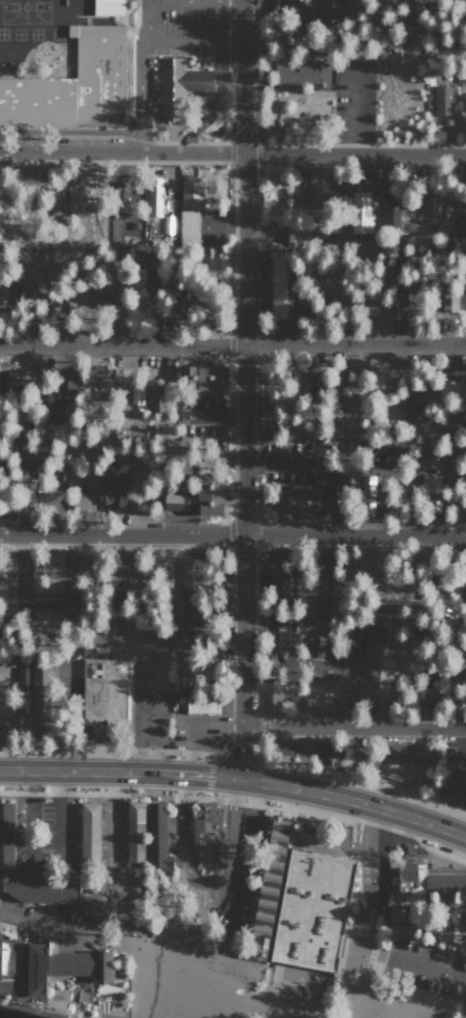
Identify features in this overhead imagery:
building: (114, 6)
building: (462, 7)
building: (329, 10)
road: (190, 42)
building: (294, 72)
road: (140, 76)
building: (79, 82)
building: (179, 85)
road: (216, 101)
building: (443, 103)
road: (233, 153)
building: (317, 184)
building: (190, 191)
building: (122, 193)
building: (154, 196)
building: (74, 199)
building: (425, 199)
building: (360, 211)
building: (399, 220)
building: (169, 224)
building: (188, 226)
building: (296, 235)
building: (141, 261)
building: (279, 283)
building: (23, 290)
building: (191, 297)
road: (232, 345)
building: (65, 377)
building: (201, 377)
road: (240, 389)
building: (135, 395)
building: (156, 400)
building: (414, 410)
building: (60, 411)
building: (162, 430)
building: (367, 485)
building: (110, 490)
building: (209, 494)
building: (299, 499)
building: (83, 502)
building: (175, 502)
road: (233, 534)
building: (190, 591)
building: (283, 641)
building: (348, 641)
building: (316, 644)
road: (151, 645)
building: (369, 668)
building: (23, 677)
building: (105, 694)
building: (39, 696)
building: (272, 696)
building: (201, 702)
building: (318, 704)
road: (352, 728)
parking lot: (201, 729)
road: (191, 747)
building: (281, 748)
building: (334, 753)
building: (399, 771)
road: (236, 778)
building: (454, 783)
building: (206, 824)
road: (183, 829)
building: (156, 835)
building: (89, 836)
building: (135, 836)
road: (228, 841)
road: (44, 852)
road: (22, 862)
building: (31, 872)
building: (267, 882)
road: (16, 885)
building: (418, 888)
building: (93, 902)
road: (15, 907)
building: (314, 907)
road: (58, 926)
building: (104, 963)
park: (304, 963)
building: (54, 964)
road: (426, 966)

